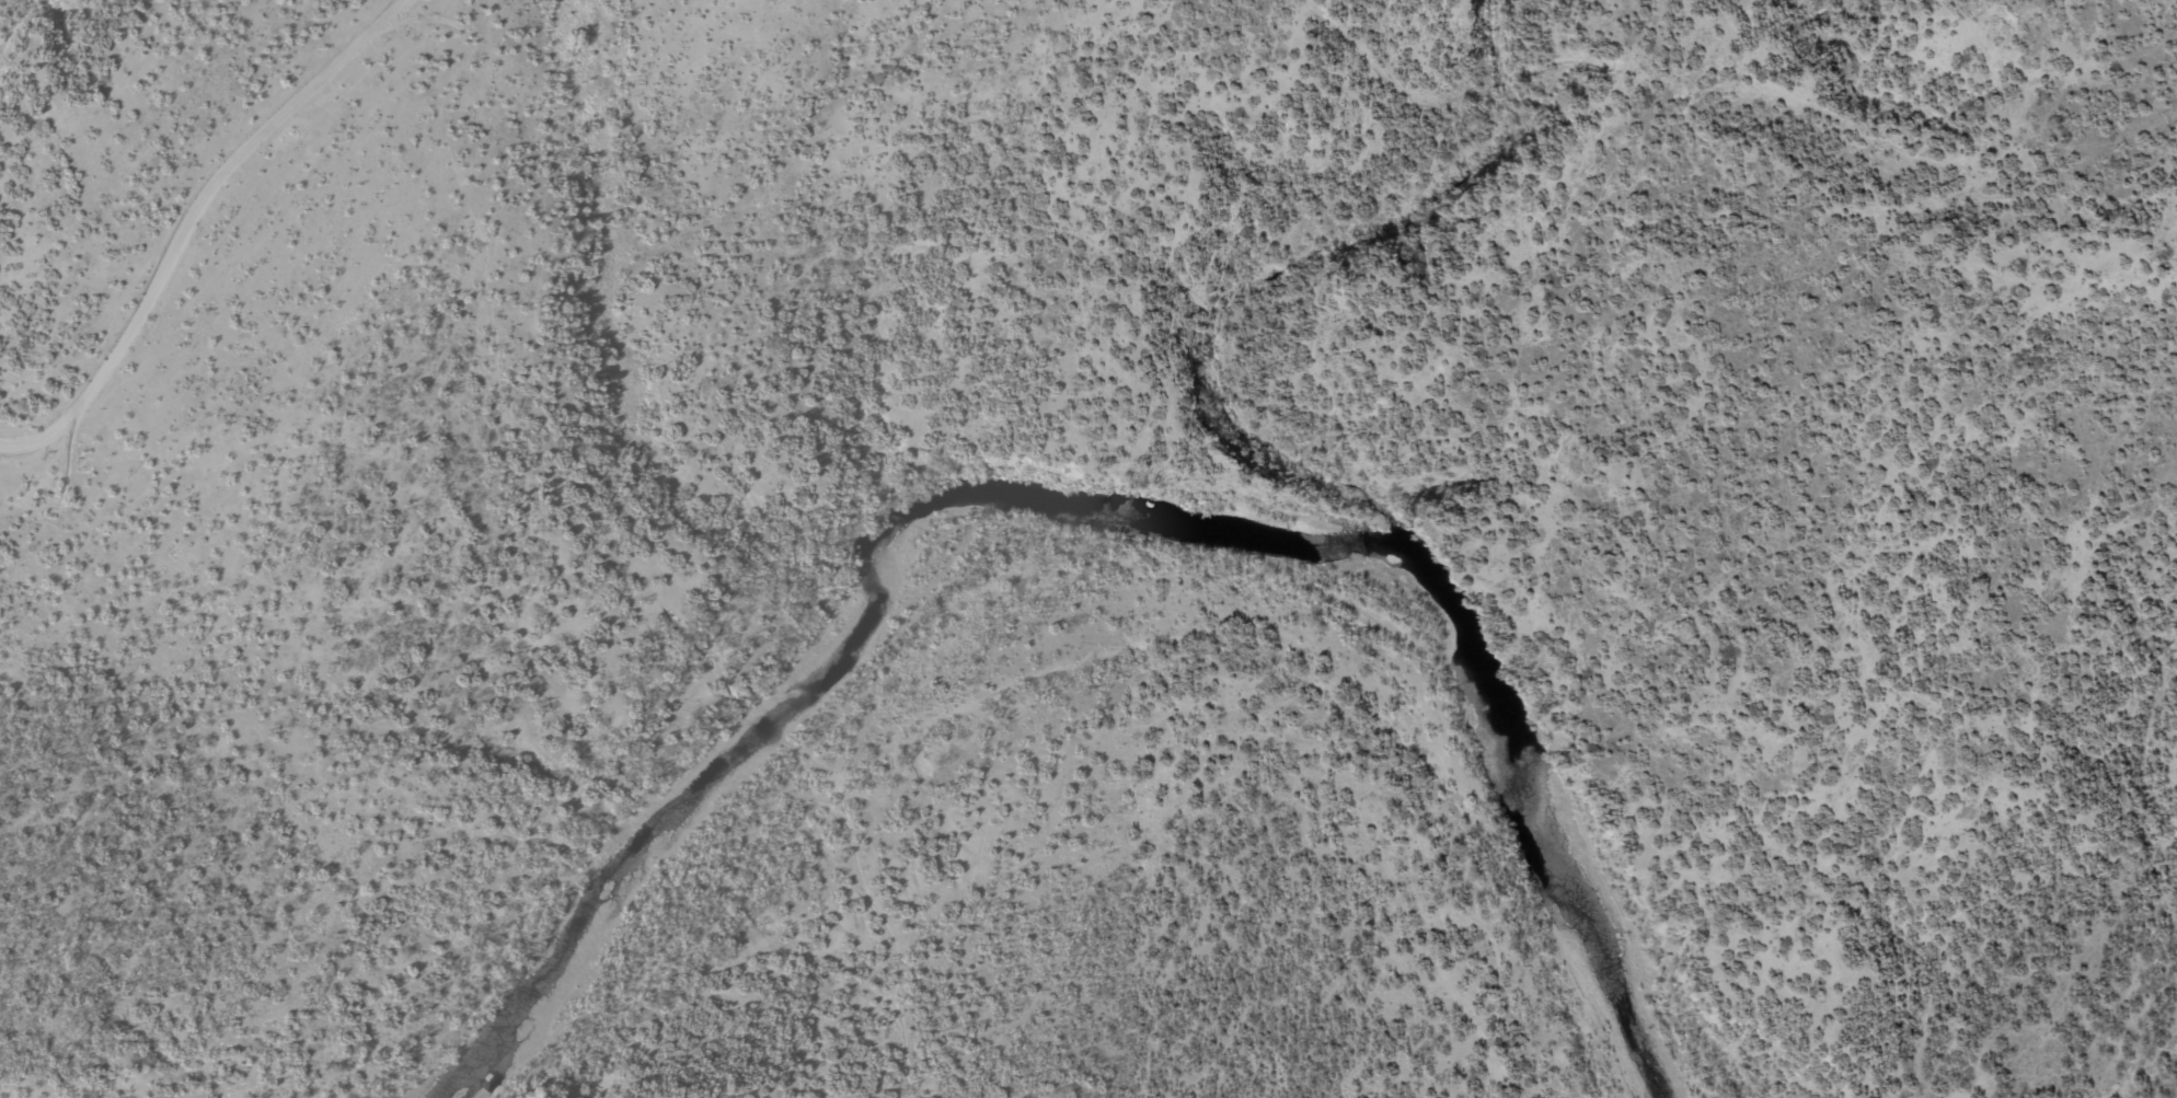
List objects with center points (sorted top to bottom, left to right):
road: (198, 194)
river: (1088, 506)

